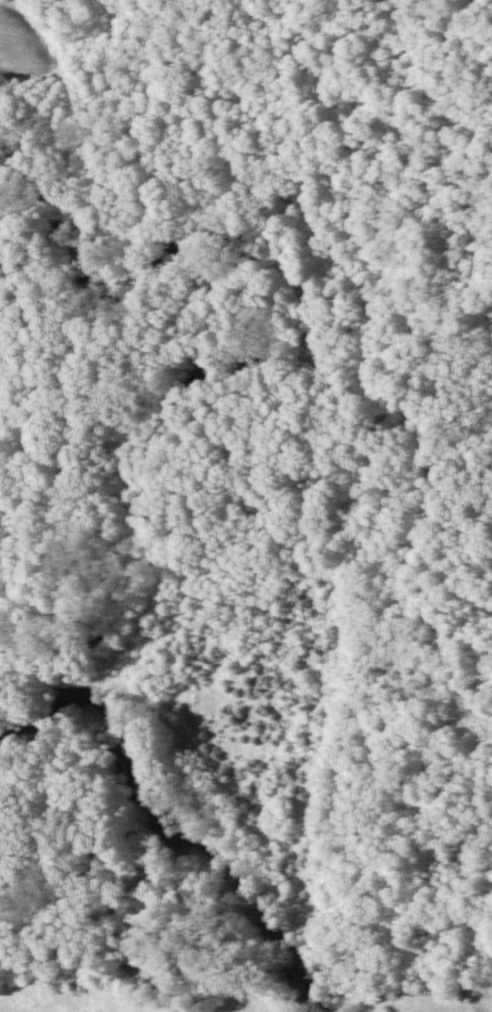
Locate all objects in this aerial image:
river: (168, 830)

